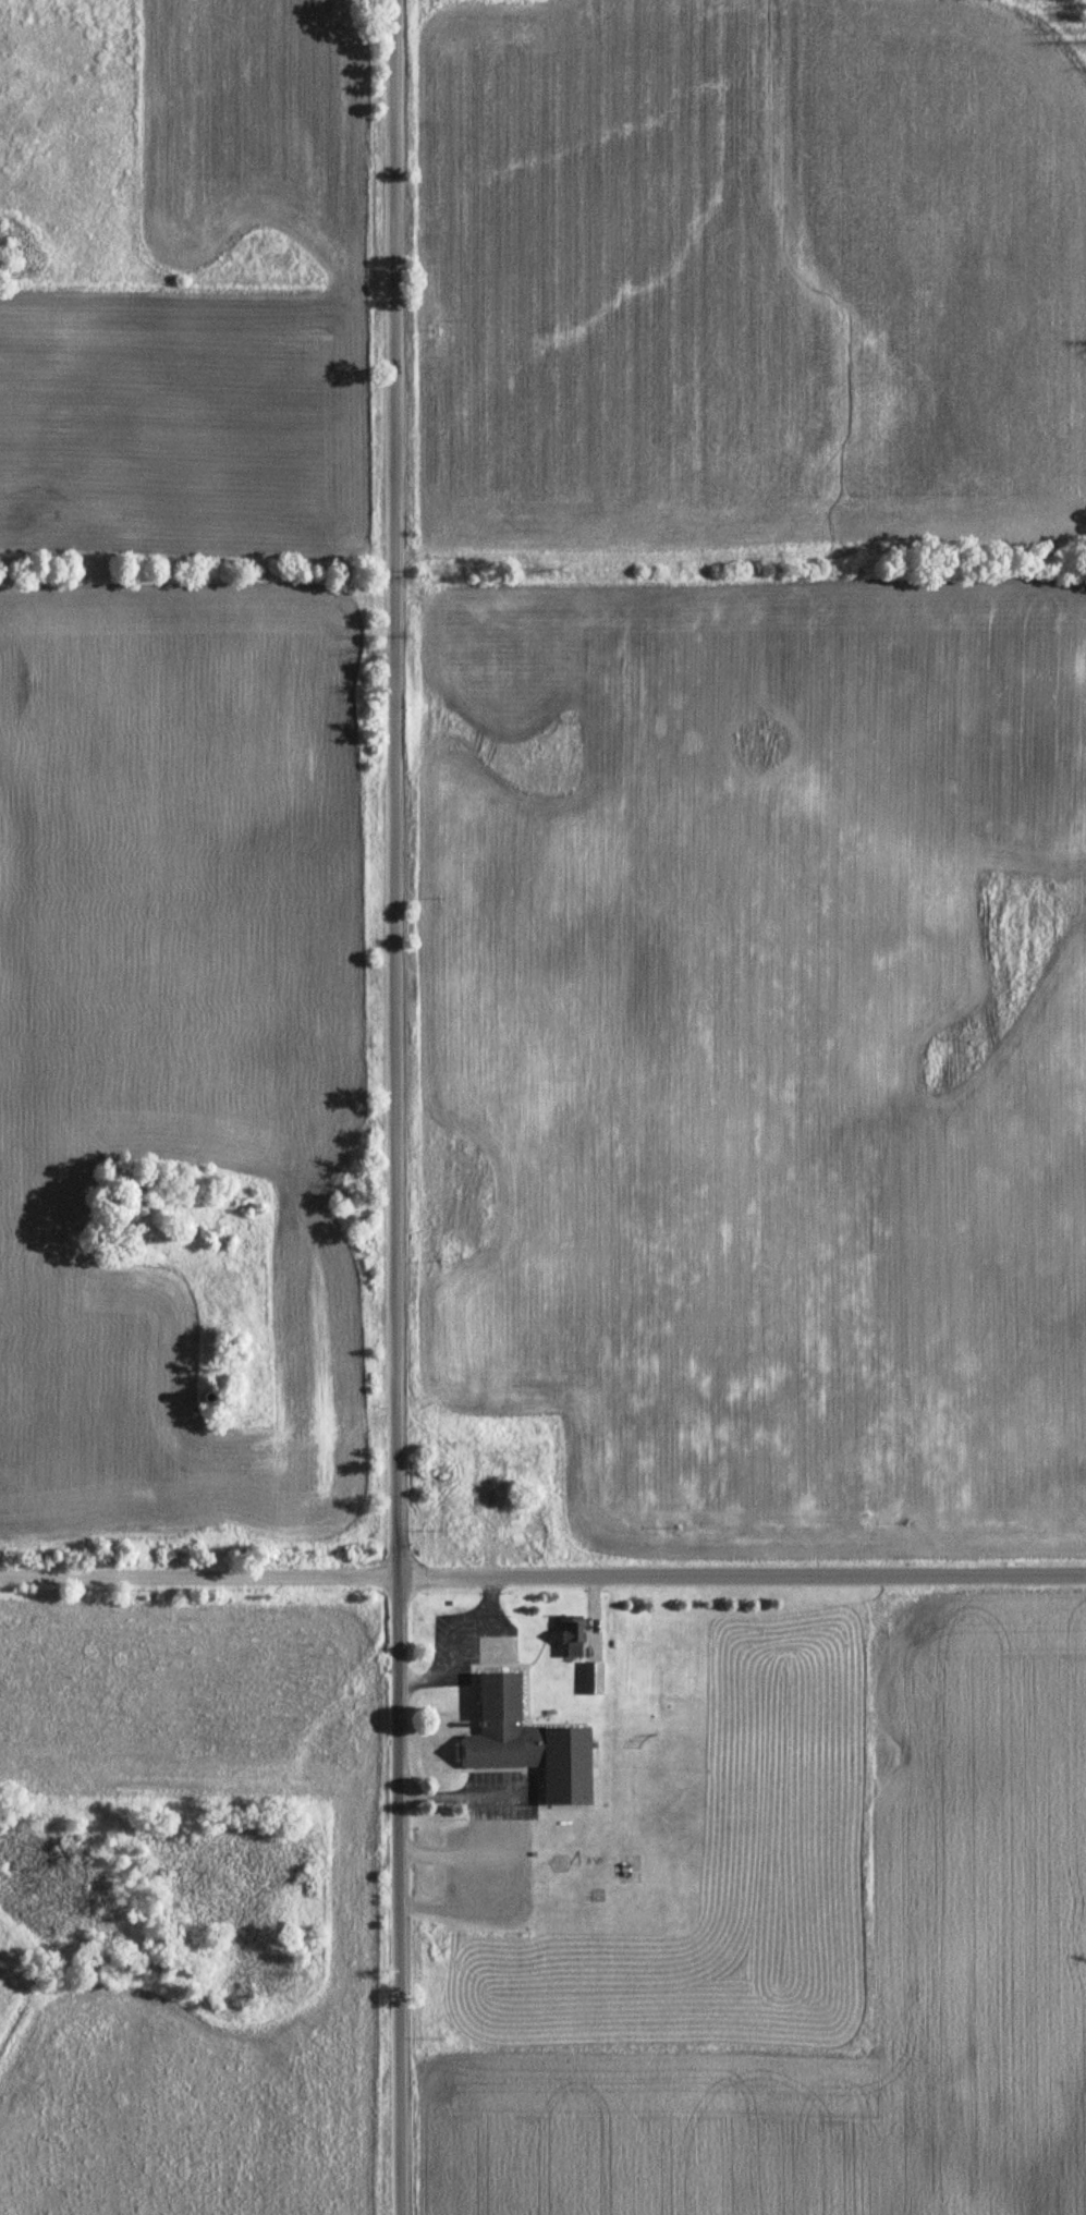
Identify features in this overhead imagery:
road: (404, 1107)
road: (743, 1577)
road: (200, 1578)
road: (449, 1631)
building: (572, 1634)
building: (533, 1743)
road: (461, 1794)

